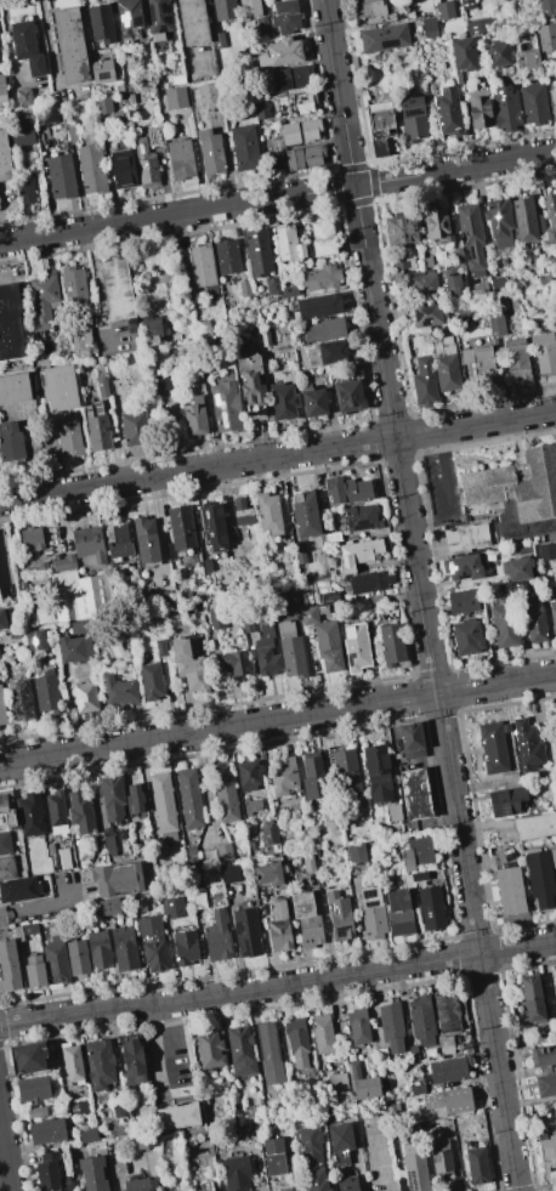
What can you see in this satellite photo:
building: (358, 1)
building: (466, 4)
building: (250, 6)
building: (546, 7)
building: (223, 8)
building: (368, 8)
rooftop solar panel: (164, 10)
building: (444, 10)
rooftop solar panel: (152, 15)
building: (127, 16)
building: (284, 16)
building: (155, 17)
rooftop solar panel: (166, 19)
building: (100, 22)
building: (192, 22)
building: (478, 25)
building: (427, 27)
rooftop solar panel: (161, 29)
building: (382, 36)
building: (546, 36)
building: (216, 40)
building: (69, 42)
rooftop solar panel: (388, 42)
building: (25, 46)
building: (498, 51)
building: (280, 52)
building: (463, 53)
building: (531, 59)
building: (101, 70)
rooftop solar panel: (103, 75)
building: (290, 76)
building: (1, 90)
building: (205, 92)
building: (23, 97)
building: (129, 97)
building: (174, 97)
building: (552, 100)
building: (296, 103)
building: (533, 103)
building: (101, 104)
building: (504, 107)
building: (477, 108)
building: (447, 109)
building: (45, 114)
rooftop solar panel: (412, 114)
building: (412, 118)
building: (379, 126)
building: (299, 131)
building: (19, 134)
building: (70, 134)
building: (153, 136)
rooftop solar panel: (158, 137)
rooftop solar panel: (152, 138)
building: (243, 147)
building: (209, 152)
building: (303, 157)
building: (178, 158)
building: (4, 159)
building: (89, 161)
building: (144, 163)
building: (121, 168)
building: (59, 176)
building: (24, 189)
road: (277, 197)
building: (549, 216)
building: (526, 219)
building: (498, 222)
building: (435, 225)
building: (399, 228)
building: (470, 237)
building: (322, 238)
building: (285, 243)
building: (256, 251)
building: (226, 255)
building: (456, 255)
building: (395, 265)
building: (200, 266)
building: (319, 277)
building: (452, 279)
building: (72, 282)
building: (421, 282)
building: (271, 284)
road: (96, 288)
building: (243, 288)
building: (478, 288)
building: (117, 290)
building: (286, 290)
building: (42, 300)
building: (317, 305)
building: (427, 314)
building: (288, 319)
rooftop solar panel: (416, 319)
building: (8, 323)
rooftop solar panel: (426, 324)
building: (495, 325)
building: (202, 328)
building: (322, 329)
building: (149, 330)
building: (263, 338)
building: (80, 342)
building: (328, 352)
building: (544, 352)
building: (515, 359)
building: (444, 363)
building: (478, 363)
building: (249, 378)
building: (422, 381)
building: (13, 387)
building: (58, 387)
building: (101, 387)
building: (347, 395)
building: (282, 399)
building: (312, 401)
rooftop solar panel: (216, 404)
building: (223, 405)
building: (193, 416)
rooftop solar panel: (223, 419)
building: (96, 427)
building: (134, 427)
building: (68, 436)
building: (10, 441)
road: (277, 456)
building: (346, 489)
road: (447, 492)
building: (520, 495)
building: (240, 511)
building: (267, 512)
rooftop solar panel: (205, 514)
building: (303, 514)
building: (359, 517)
rooftop solar panel: (209, 521)
building: (211, 524)
building: (180, 529)
rooftop solar panel: (208, 534)
building: (331, 535)
building: (464, 537)
building: (29, 539)
building: (144, 540)
building: (119, 541)
building: (86, 545)
building: (545, 551)
building: (356, 554)
building: (297, 555)
building: (62, 562)
rooftop solar panel: (448, 563)
building: (205, 565)
building: (460, 567)
building: (516, 568)
rooftop solar panel: (463, 574)
building: (368, 580)
building: (511, 589)
building: (286, 592)
road: (421, 595)
building: (75, 597)
building: (328, 597)
building: (373, 601)
building: (461, 601)
building: (307, 614)
building: (552, 616)
building: (215, 618)
building: (1, 620)
building: (533, 622)
building: (503, 625)
building: (466, 636)
building: (34, 641)
building: (390, 643)
building: (327, 645)
building: (353, 646)
building: (159, 647)
building: (73, 648)
building: (289, 648)
building: (265, 652)
building: (233, 662)
building: (189, 667)
building: (149, 680)
building: (117, 688)
building: (45, 693)
building: (84, 697)
building: (18, 701)
building: (1, 713)
road: (278, 719)
building: (410, 739)
building: (527, 744)
building: (493, 745)
building: (345, 771)
building: (376, 771)
building: (246, 775)
building: (283, 776)
building: (312, 776)
building: (223, 792)
building: (414, 793)
building: (506, 795)
building: (110, 796)
building: (188, 798)
building: (134, 800)
building: (161, 805)
building: (250, 805)
building: (55, 809)
building: (79, 811)
building: (6, 812)
building: (391, 812)
building: (28, 815)
building: (534, 824)
building: (119, 834)
building: (267, 839)
building: (4, 843)
building: (108, 845)
building: (222, 852)
building: (354, 852)
building: (416, 852)
building: (62, 857)
building: (307, 861)
building: (53, 862)
building: (6, 867)
building: (229, 873)
building: (267, 873)
building: (419, 875)
building: (541, 877)
building: (115, 878)
building: (407, 880)
building: (18, 889)
building: (509, 890)
building: (197, 898)
building: (104, 907)
building: (172, 907)
road: (34, 908)
building: (430, 908)
building: (371, 912)
building: (398, 912)
building: (337, 915)
building: (305, 919)
building: (147, 925)
building: (278, 926)
building: (29, 928)
building: (245, 931)
building: (17, 934)
building: (215, 937)
building: (183, 946)
building: (123, 948)
building: (97, 949)
building: (154, 955)
building: (76, 958)
building: (55, 959)
building: (7, 966)
building: (33, 970)
building: (554, 983)
road: (278, 985)
building: (531, 998)
building: (447, 1013)
building: (422, 1020)
building: (359, 1026)
building: (392, 1028)
building: (323, 1034)
building: (444, 1040)
building: (297, 1042)
building: (210, 1050)
building: (447, 1050)
building: (242, 1051)
building: (270, 1054)
building: (382, 1055)
building: (543, 1055)
building: (27, 1057)
building: (134, 1059)
building: (73, 1064)
building: (100, 1064)
building: (449, 1070)
building: (337, 1083)
building: (361, 1083)
building: (545, 1083)
building: (34, 1090)
building: (449, 1101)
building: (118, 1111)
building: (36, 1112)
building: (177, 1116)
building: (47, 1132)
building: (86, 1134)
building: (341, 1136)
building: (144, 1140)
building: (310, 1146)
building: (546, 1150)
building: (441, 1157)
building: (273, 1158)
road: (4, 1162)
building: (477, 1166)
building: (415, 1167)
building: (237, 1172)
building: (49, 1173)
building: (92, 1174)
building: (316, 1180)
building: (346, 1183)
rooftop solar panel: (410, 1183)
building: (137, 1185)
building: (237, 1189)
building: (285, 1189)
building: (211, 1190)

